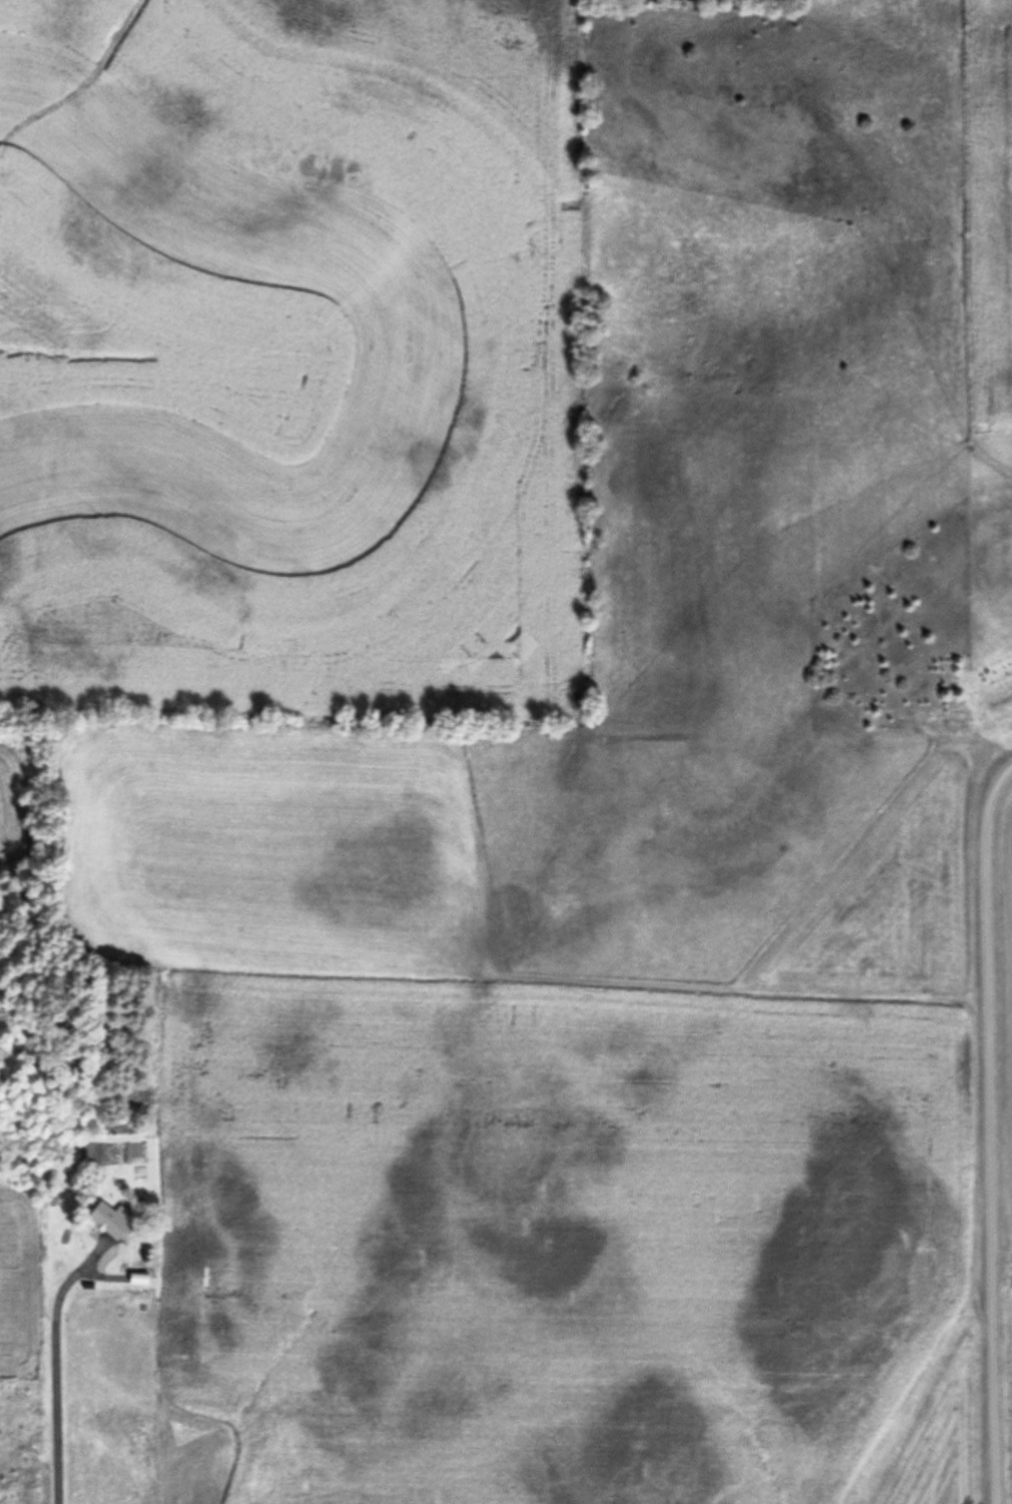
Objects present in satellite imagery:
road: (990, 1121)
building: (105, 1221)

